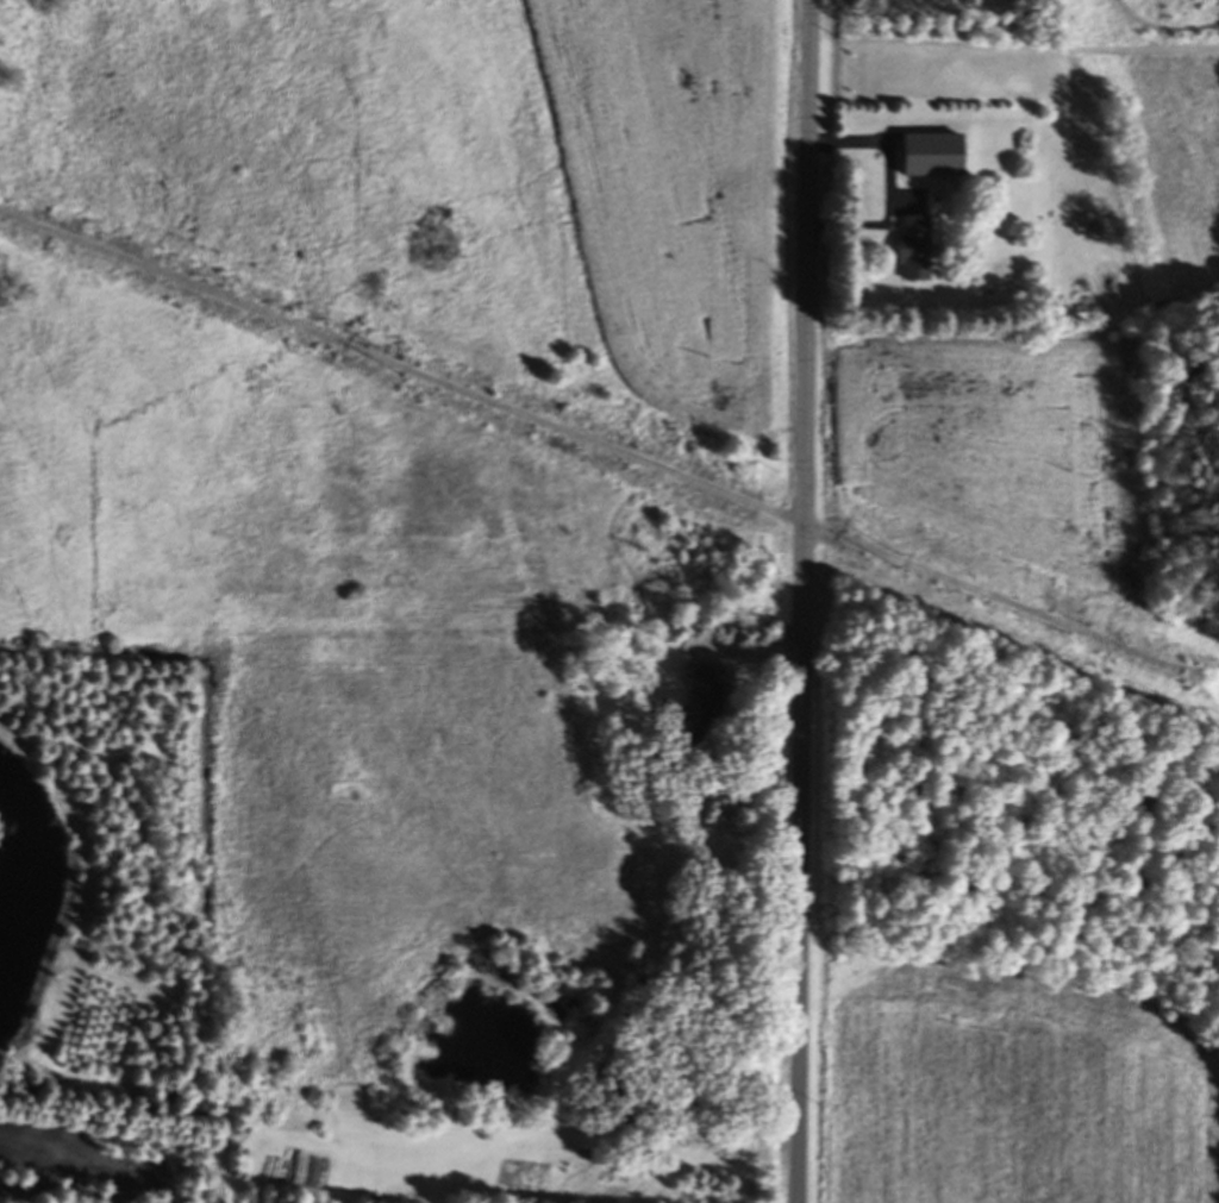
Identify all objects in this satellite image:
building: (934, 158)
road: (892, 188)
building: (915, 251)
power tower: (411, 374)
power tower: (911, 566)
road: (802, 601)
building: (704, 676)
building: (711, 719)
crop: (1015, 1096)

